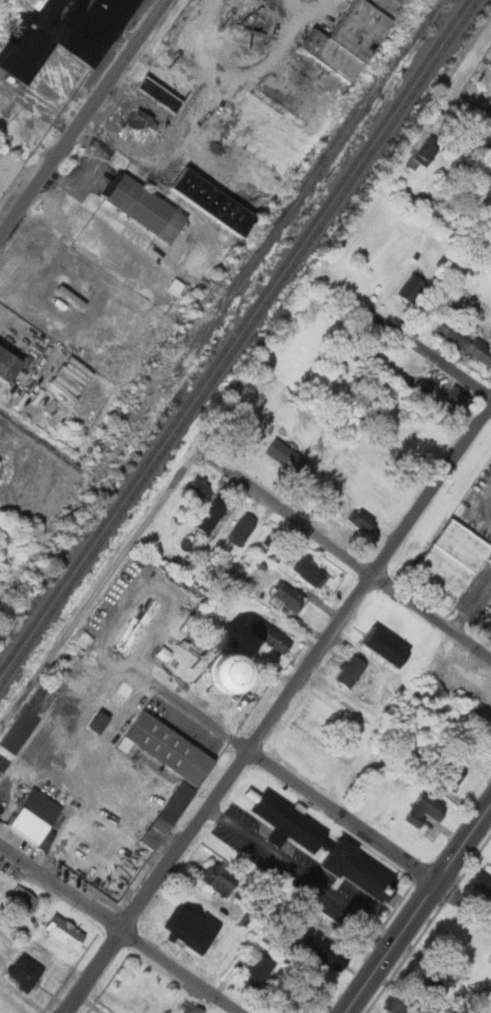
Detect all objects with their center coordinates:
building: (36, 10)
building: (63, 36)
building: (172, 79)
road: (83, 118)
building: (139, 125)
road: (482, 134)
building: (245, 146)
building: (427, 150)
building: (485, 181)
building: (144, 206)
building: (173, 286)
building: (411, 289)
building: (490, 300)
railway: (229, 301)
building: (490, 331)
railway: (233, 334)
building: (463, 340)
railway: (238, 343)
building: (369, 349)
road: (426, 351)
building: (9, 365)
building: (389, 373)
building: (67, 377)
building: (419, 388)
building: (456, 398)
building: (280, 455)
building: (194, 486)
building: (208, 516)
building: (359, 520)
building: (238, 529)
road: (341, 555)
building: (452, 558)
building: (307, 572)
building: (284, 597)
road: (97, 600)
building: (490, 606)
building: (267, 636)
building: (375, 645)
building: (346, 671)
water tower: (207, 675)
road: (285, 710)
building: (19, 722)
building: (453, 774)
road: (284, 775)
building: (172, 808)
building: (424, 809)
building: (37, 818)
building: (291, 821)
building: (363, 871)
building: (482, 879)
building: (218, 880)
building: (21, 898)
road: (421, 912)
building: (193, 926)
road: (118, 928)
building: (64, 931)
building: (292, 941)
building: (333, 955)
building: (259, 970)
building: (25, 972)
building: (428, 981)
building: (399, 1002)
building: (190, 1007)

